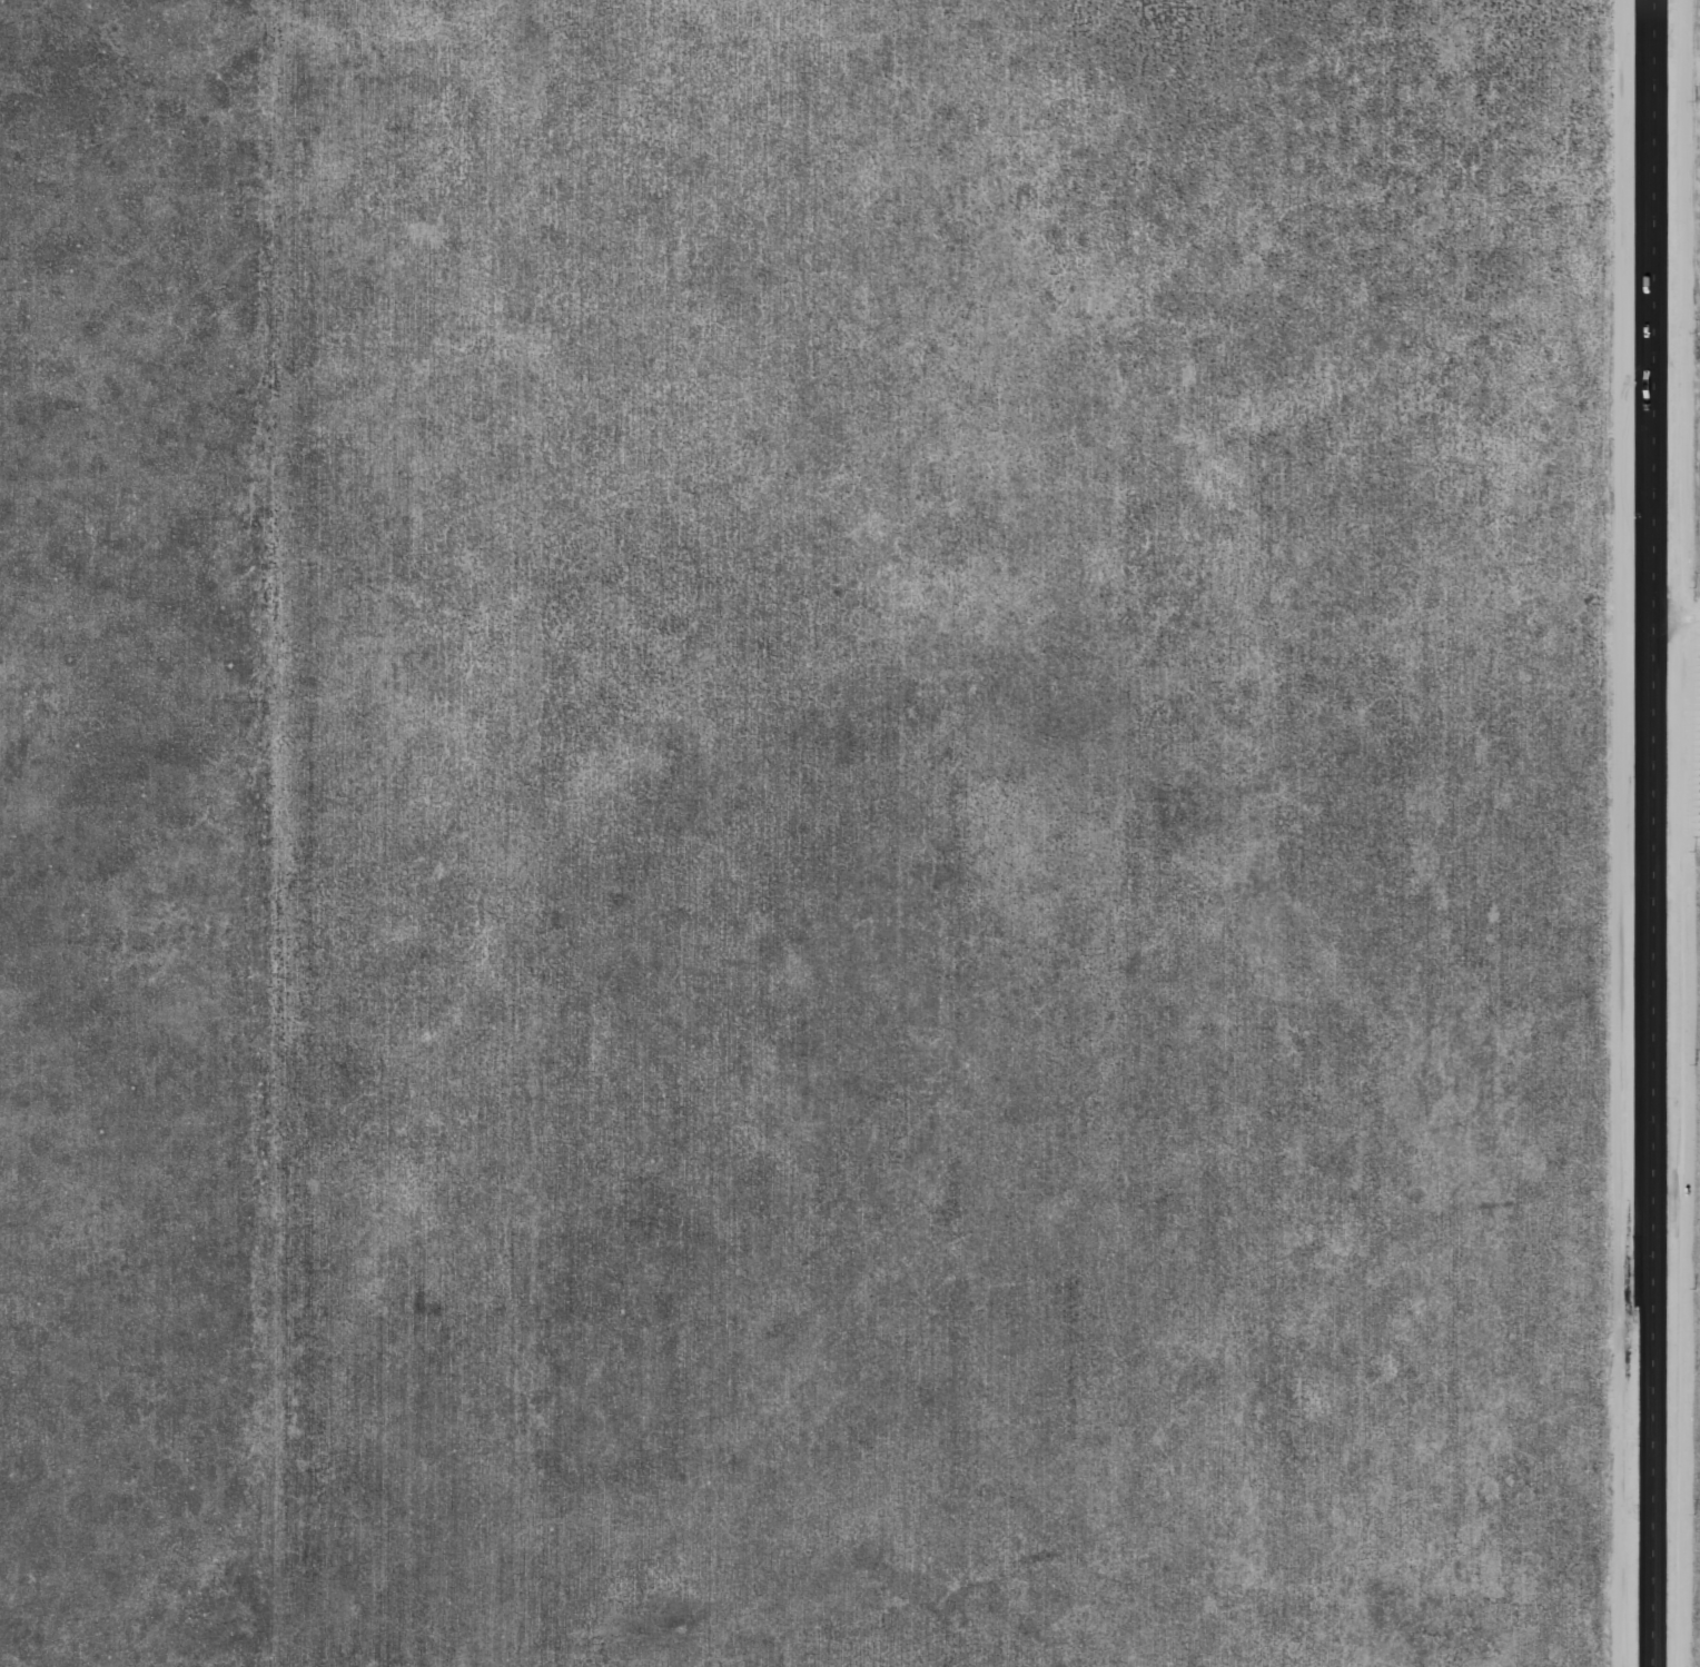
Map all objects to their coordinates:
road: (1677, 269)
road: (1653, 833)

